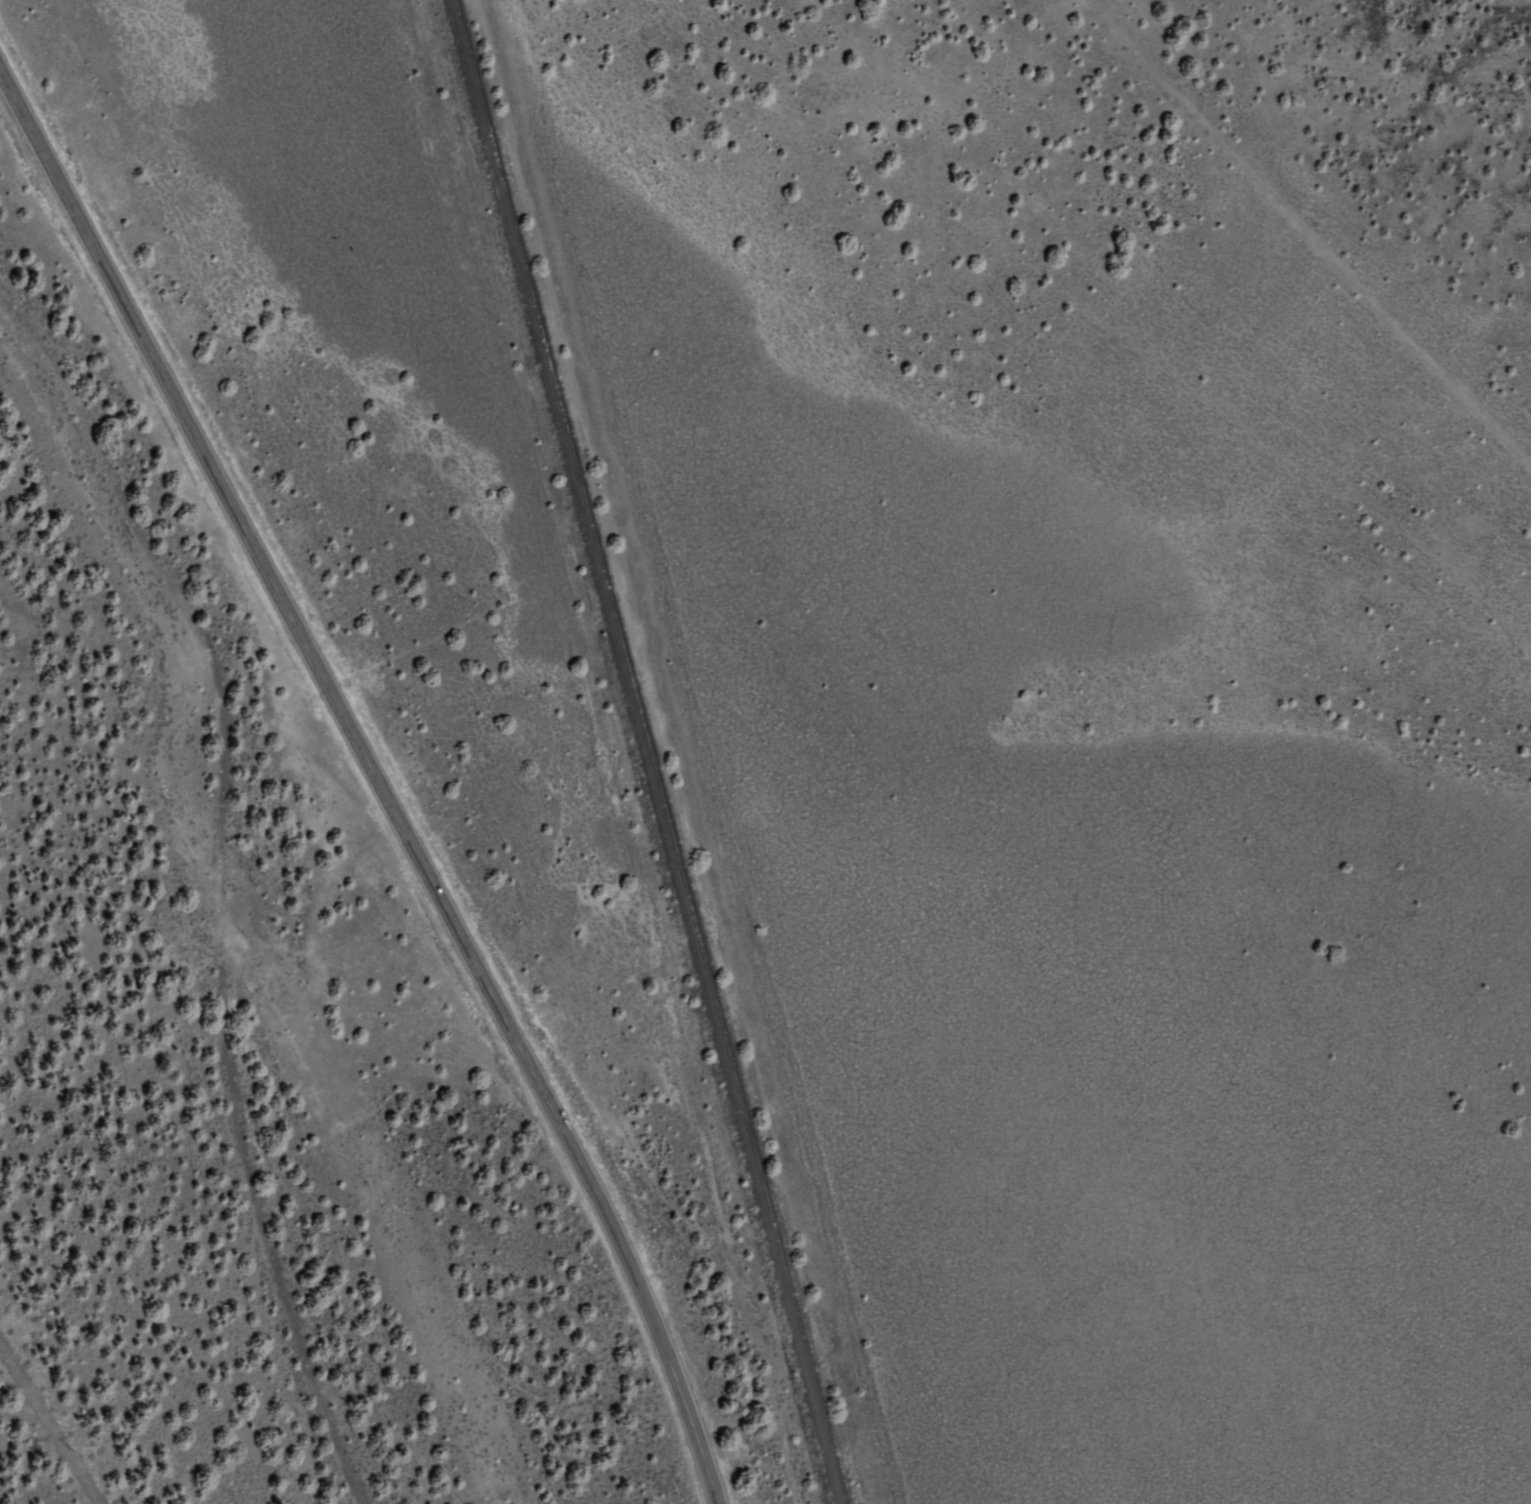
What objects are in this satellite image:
road: (1309, 233)
road: (376, 777)
road: (218, 879)

